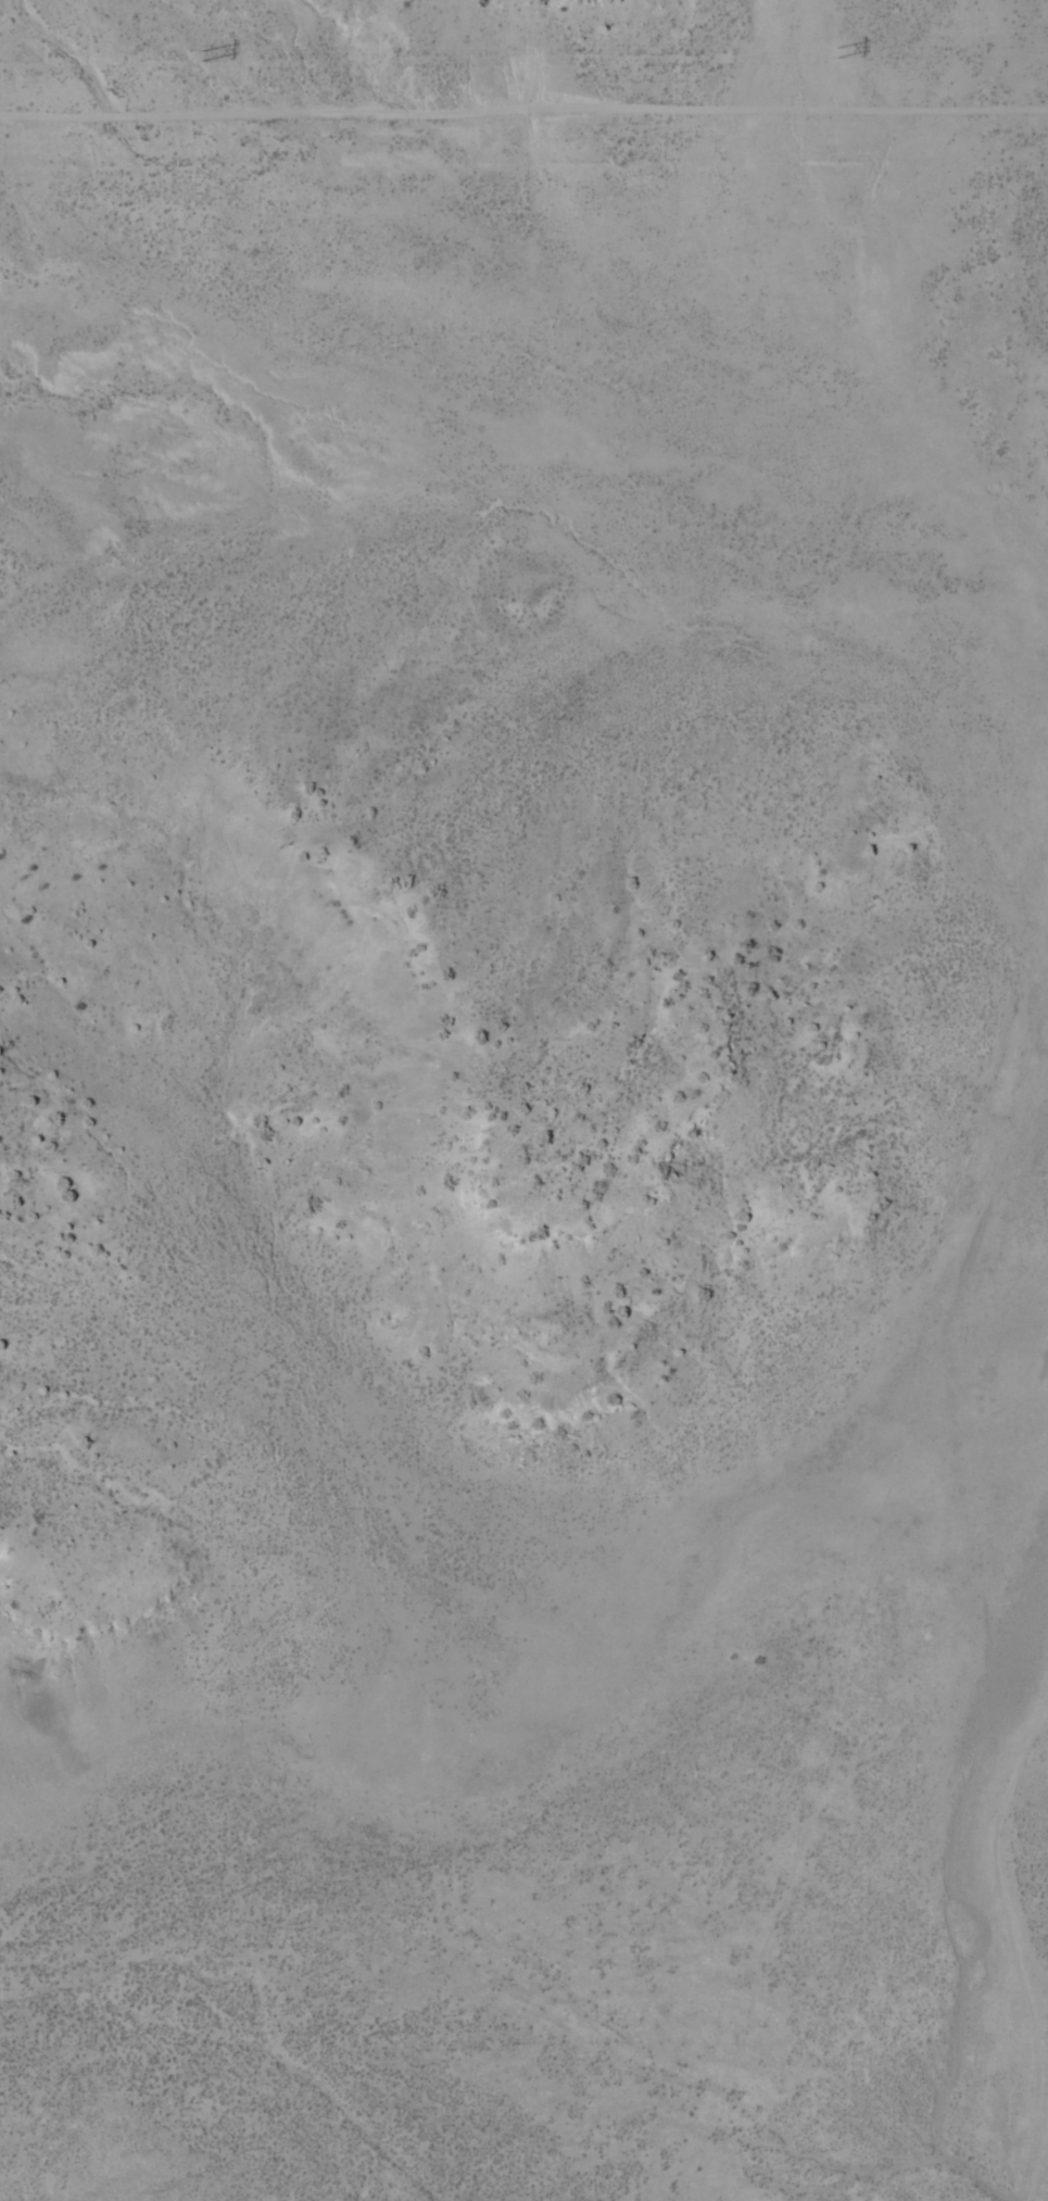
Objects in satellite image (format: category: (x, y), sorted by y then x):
power tower: (836, 53)
power tower: (200, 56)
road: (957, 1369)

